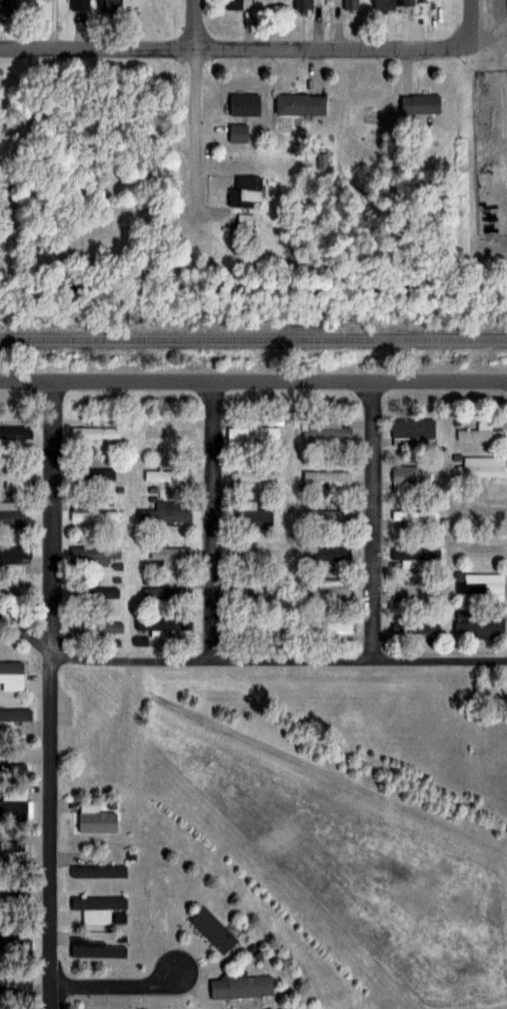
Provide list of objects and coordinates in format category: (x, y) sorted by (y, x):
building: (78, 3)
building: (109, 4)
building: (234, 4)
building: (394, 4)
building: (303, 5)
building: (350, 5)
road: (471, 22)
road: (234, 51)
building: (243, 102)
building: (299, 104)
building: (419, 104)
road: (197, 115)
building: (238, 131)
building: (243, 191)
building: (245, 219)
railway: (253, 339)
road: (253, 382)
building: (252, 428)
building: (325, 428)
building: (13, 429)
building: (92, 429)
building: (412, 429)
building: (170, 431)
building: (481, 432)
building: (482, 465)
building: (102, 473)
building: (168, 474)
building: (410, 476)
building: (329, 477)
building: (17, 478)
building: (254, 478)
building: (165, 511)
building: (11, 513)
road: (53, 513)
building: (94, 513)
building: (332, 514)
building: (415, 514)
building: (252, 515)
road: (212, 520)
road: (372, 520)
building: (14, 553)
building: (254, 553)
building: (328, 553)
building: (92, 554)
building: (173, 556)
building: (416, 556)
building: (480, 584)
building: (250, 589)
building: (331, 589)
building: (92, 590)
building: (166, 595)
building: (478, 622)
building: (408, 626)
building: (254, 628)
building: (328, 628)
road: (244, 657)
building: (11, 667)
building: (17, 717)
building: (12, 767)
building: (13, 801)
building: (95, 817)
road: (50, 831)
building: (97, 870)
building: (14, 883)
building: (156, 901)
building: (96, 907)
building: (212, 928)
building: (8, 934)
building: (97, 948)
building: (15, 981)
building: (238, 984)
road: (116, 985)
building: (94, 1008)

